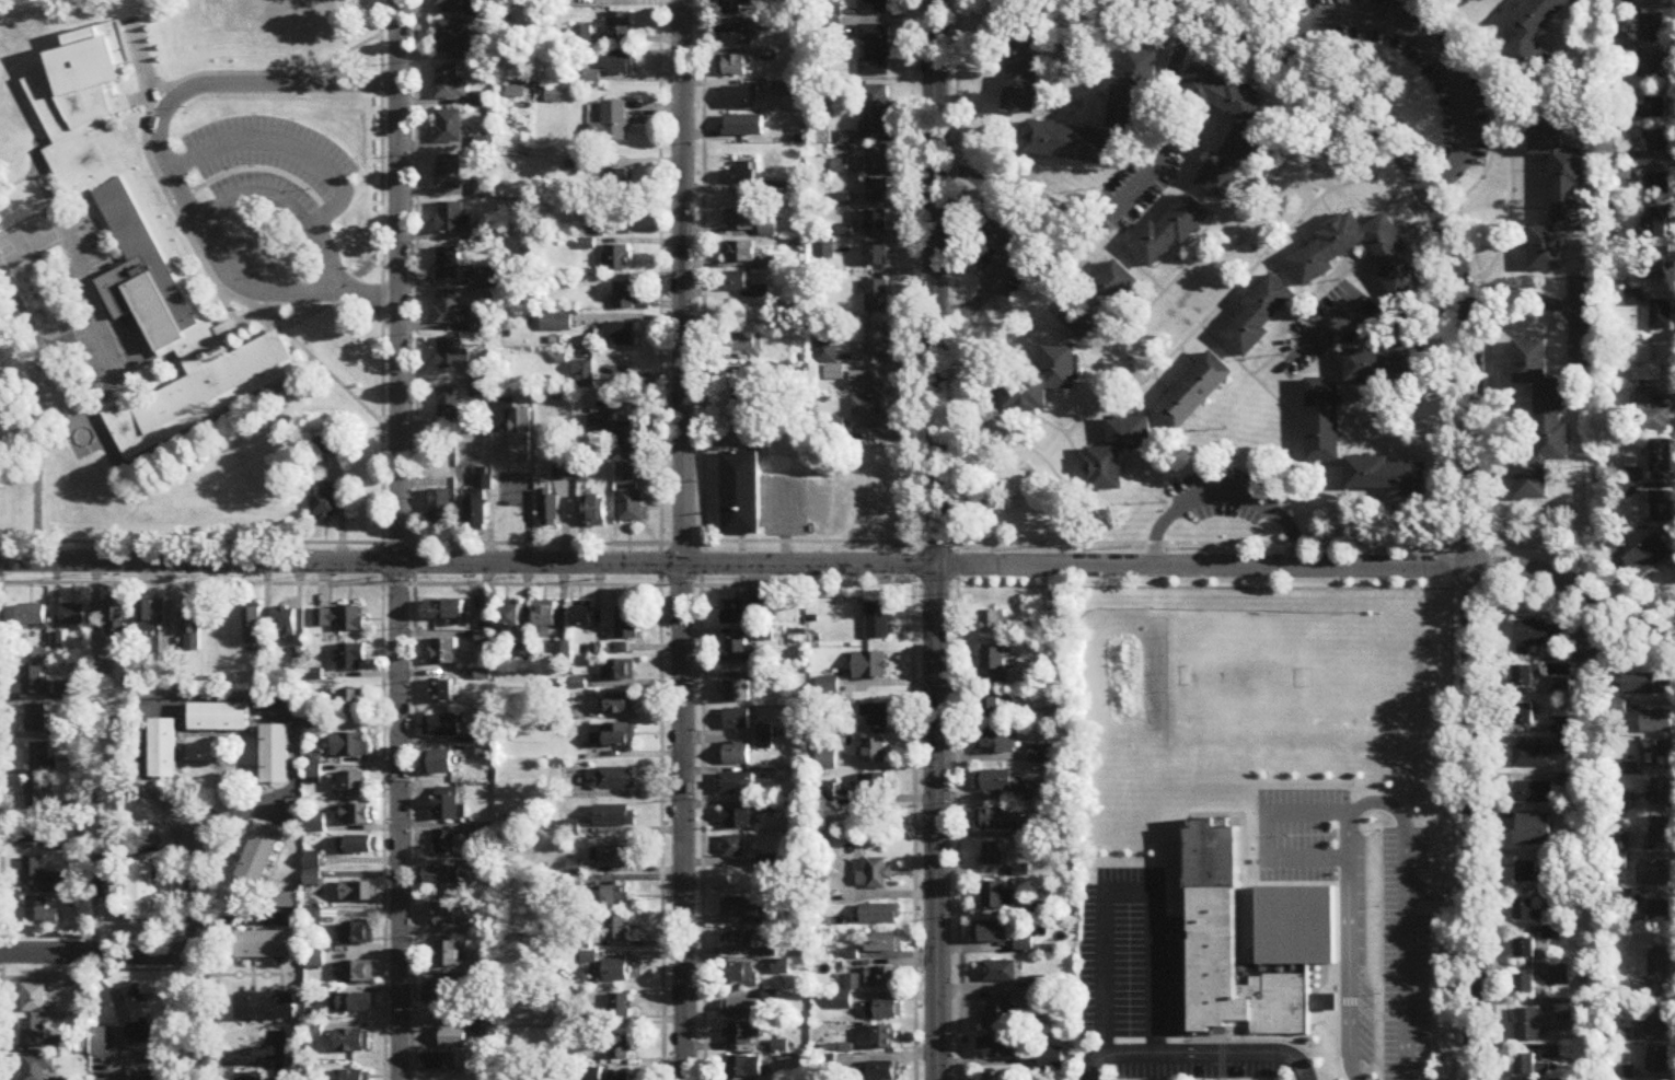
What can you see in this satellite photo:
road: (1414, 0)
building: (1651, 0)
road: (1160, 2)
building: (449, 3)
building: (874, 5)
building: (735, 7)
road: (1339, 7)
road: (1197, 8)
road: (1378, 9)
road: (1424, 15)
road: (1275, 20)
building: (619, 26)
building: (1652, 28)
road: (1472, 31)
building: (736, 36)
building: (455, 37)
building: (1533, 37)
road: (1429, 47)
building: (874, 50)
building: (622, 63)
building: (733, 67)
building: (1654, 69)
building: (1021, 70)
building: (451, 83)
road: (245, 85)
building: (793, 90)
building: (1131, 92)
road: (1476, 92)
building: (742, 98)
road: (1490, 102)
road: (1074, 108)
building: (1656, 108)
building: (875, 112)
building: (615, 121)
building: (786, 123)
building: (450, 127)
road: (1158, 130)
road: (1121, 131)
road: (1486, 138)
building: (1660, 140)
road: (265, 142)
building: (1066, 142)
building: (1246, 142)
road: (1012, 144)
building: (877, 159)
road: (1283, 171)
building: (450, 173)
building: (740, 175)
road: (1511, 176)
road: (1301, 177)
building: (620, 183)
building: (1660, 184)
road: (1195, 185)
building: (877, 190)
building: (1557, 191)
road: (259, 193)
road: (1309, 194)
building: (622, 217)
building: (451, 218)
road: (1089, 220)
building: (741, 221)
building: (877, 221)
building: (1655, 224)
building: (770, 230)
building: (1170, 232)
road: (1004, 241)
building: (741, 253)
building: (143, 254)
building: (1361, 254)
building: (877, 255)
building: (619, 258)
building: (449, 265)
road: (415, 271)
building: (490, 279)
building: (737, 282)
road: (1299, 287)
road: (367, 293)
road: (1520, 297)
building: (877, 298)
building: (628, 299)
building: (1633, 299)
building: (1099, 301)
building: (450, 309)
building: (1260, 314)
building: (1660, 316)
road: (1397, 318)
road: (1574, 321)
building: (558, 324)
road: (1326, 324)
road: (1065, 334)
building: (622, 336)
building: (877, 339)
building: (744, 345)
building: (825, 352)
building: (450, 353)
road: (1269, 359)
building: (1647, 360)
building: (1389, 365)
road: (1449, 368)
building: (834, 374)
building: (586, 375)
road: (1117, 379)
building: (1042, 382)
building: (868, 383)
building: (749, 392)
building: (1194, 392)
road: (1374, 397)
building: (449, 402)
road: (1282, 406)
building: (1652, 414)
building: (870, 415)
road: (1078, 417)
road: (1355, 418)
building: (1325, 420)
building: (1541, 421)
building: (603, 427)
building: (515, 430)
road: (1374, 439)
building: (633, 442)
building: (328, 446)
road: (1155, 448)
building: (1117, 453)
building: (1661, 455)
road: (1040, 456)
road: (1470, 456)
road: (1490, 474)
building: (627, 476)
building: (1387, 476)
building: (1632, 480)
road: (1224, 492)
building: (741, 495)
building: (477, 501)
building: (324, 502)
building: (632, 506)
building: (1661, 507)
building: (442, 508)
building: (550, 510)
building: (596, 511)
road: (382, 539)
road: (398, 539)
road: (660, 539)
road: (682, 539)
road: (704, 539)
road: (911, 539)
road: (934, 539)
road: (956, 539)
building: (1617, 539)
road: (844, 541)
building: (1648, 557)
road: (844, 562)
road: (845, 585)
building: (444, 611)
building: (738, 614)
building: (32, 616)
building: (73, 616)
building: (116, 616)
building: (153, 616)
building: (584, 616)
building: (510, 618)
building: (339, 620)
building: (545, 620)
building: (878, 622)
building: (627, 623)
building: (996, 624)
building: (284, 625)
building: (192, 626)
building: (254, 628)
building: (1054, 628)
building: (1539, 635)
building: (444, 652)
building: (737, 652)
building: (350, 658)
building: (622, 666)
building: (870, 667)
building: (997, 667)
building: (1527, 677)
building: (35, 683)
building: (1644, 686)
building: (443, 692)
building: (737, 693)
building: (1023, 698)
building: (353, 704)
building: (621, 705)
building: (992, 710)
building: (1525, 716)
building: (876, 717)
building: (220, 719)
building: (36, 720)
building: (737, 720)
building: (1655, 723)
building: (443, 727)
building: (613, 736)
building: (1564, 736)
building: (996, 744)
building: (350, 746)
building: (164, 750)
building: (874, 753)
building: (1656, 755)
building: (276, 756)
building: (736, 756)
building: (1533, 757)
building: (41, 758)
road: (143, 763)
building: (439, 764)
building: (316, 776)
building: (614, 779)
building: (995, 782)
building: (736, 785)
building: (354, 786)
building: (875, 787)
road: (292, 789)
building: (823, 793)
building: (1534, 793)
building: (1661, 793)
road: (195, 794)
building: (37, 796)
building: (449, 806)
road: (1, 810)
road: (413, 811)
building: (358, 815)
building: (615, 816)
building: (737, 820)
building: (998, 821)
road: (1402, 821)
road: (1269, 831)
building: (32, 832)
building: (1534, 832)
building: (1660, 832)
building: (444, 844)
building: (357, 846)
building: (733, 848)
building: (261, 856)
building: (993, 856)
building: (613, 858)
building: (485, 869)
building: (313, 871)
building: (1529, 873)
building: (875, 874)
building: (1654, 874)
building: (38, 878)
building: (107, 878)
building: (443, 878)
road: (1439, 891)
building: (142, 892)
building: (358, 893)
road: (1124, 893)
building: (995, 896)
building: (616, 898)
building: (1213, 902)
building: (740, 908)
building: (39, 911)
building: (1527, 911)
building: (1660, 911)
building: (443, 915)
building: (881, 915)
building: (617, 929)
building: (993, 932)
building: (358, 934)
road: (140, 937)
building: (740, 941)
building: (886, 943)
building: (266, 947)
building: (1525, 949)
road: (1349, 951)
road: (97, 952)
road: (196, 955)
building: (447, 955)
building: (782, 968)
road: (136, 969)
building: (613, 972)
building: (1659, 972)
building: (358, 973)
building: (1001, 973)
building: (740, 974)
building: (1561, 975)
building: (882, 977)
building: (60, 982)
building: (854, 983)
building: (1525, 985)
road: (1406, 986)
building: (439, 995)
building: (34, 999)
building: (351, 1004)
building: (621, 1007)
building: (266, 1008)
building: (742, 1009)
building: (1564, 1010)
building: (885, 1011)
building: (1000, 1014)
building: (135, 1018)
building: (1657, 1024)
building: (1528, 1026)
building: (34, 1034)
building: (741, 1035)
building: (452, 1038)
building: (883, 1038)
building: (351, 1043)
building: (620, 1048)
building: (1001, 1048)
road: (1269, 1052)
road: (1143, 1053)
building: (1553, 1054)
building: (1657, 1060)
building: (441, 1062)
building: (36, 1067)
building: (744, 1067)
building: (1529, 1067)
building: (879, 1071)
building: (353, 1076)
building: (143, 1077)
building: (619, 1077)
building: (996, 1077)
building: (251, 1078)

